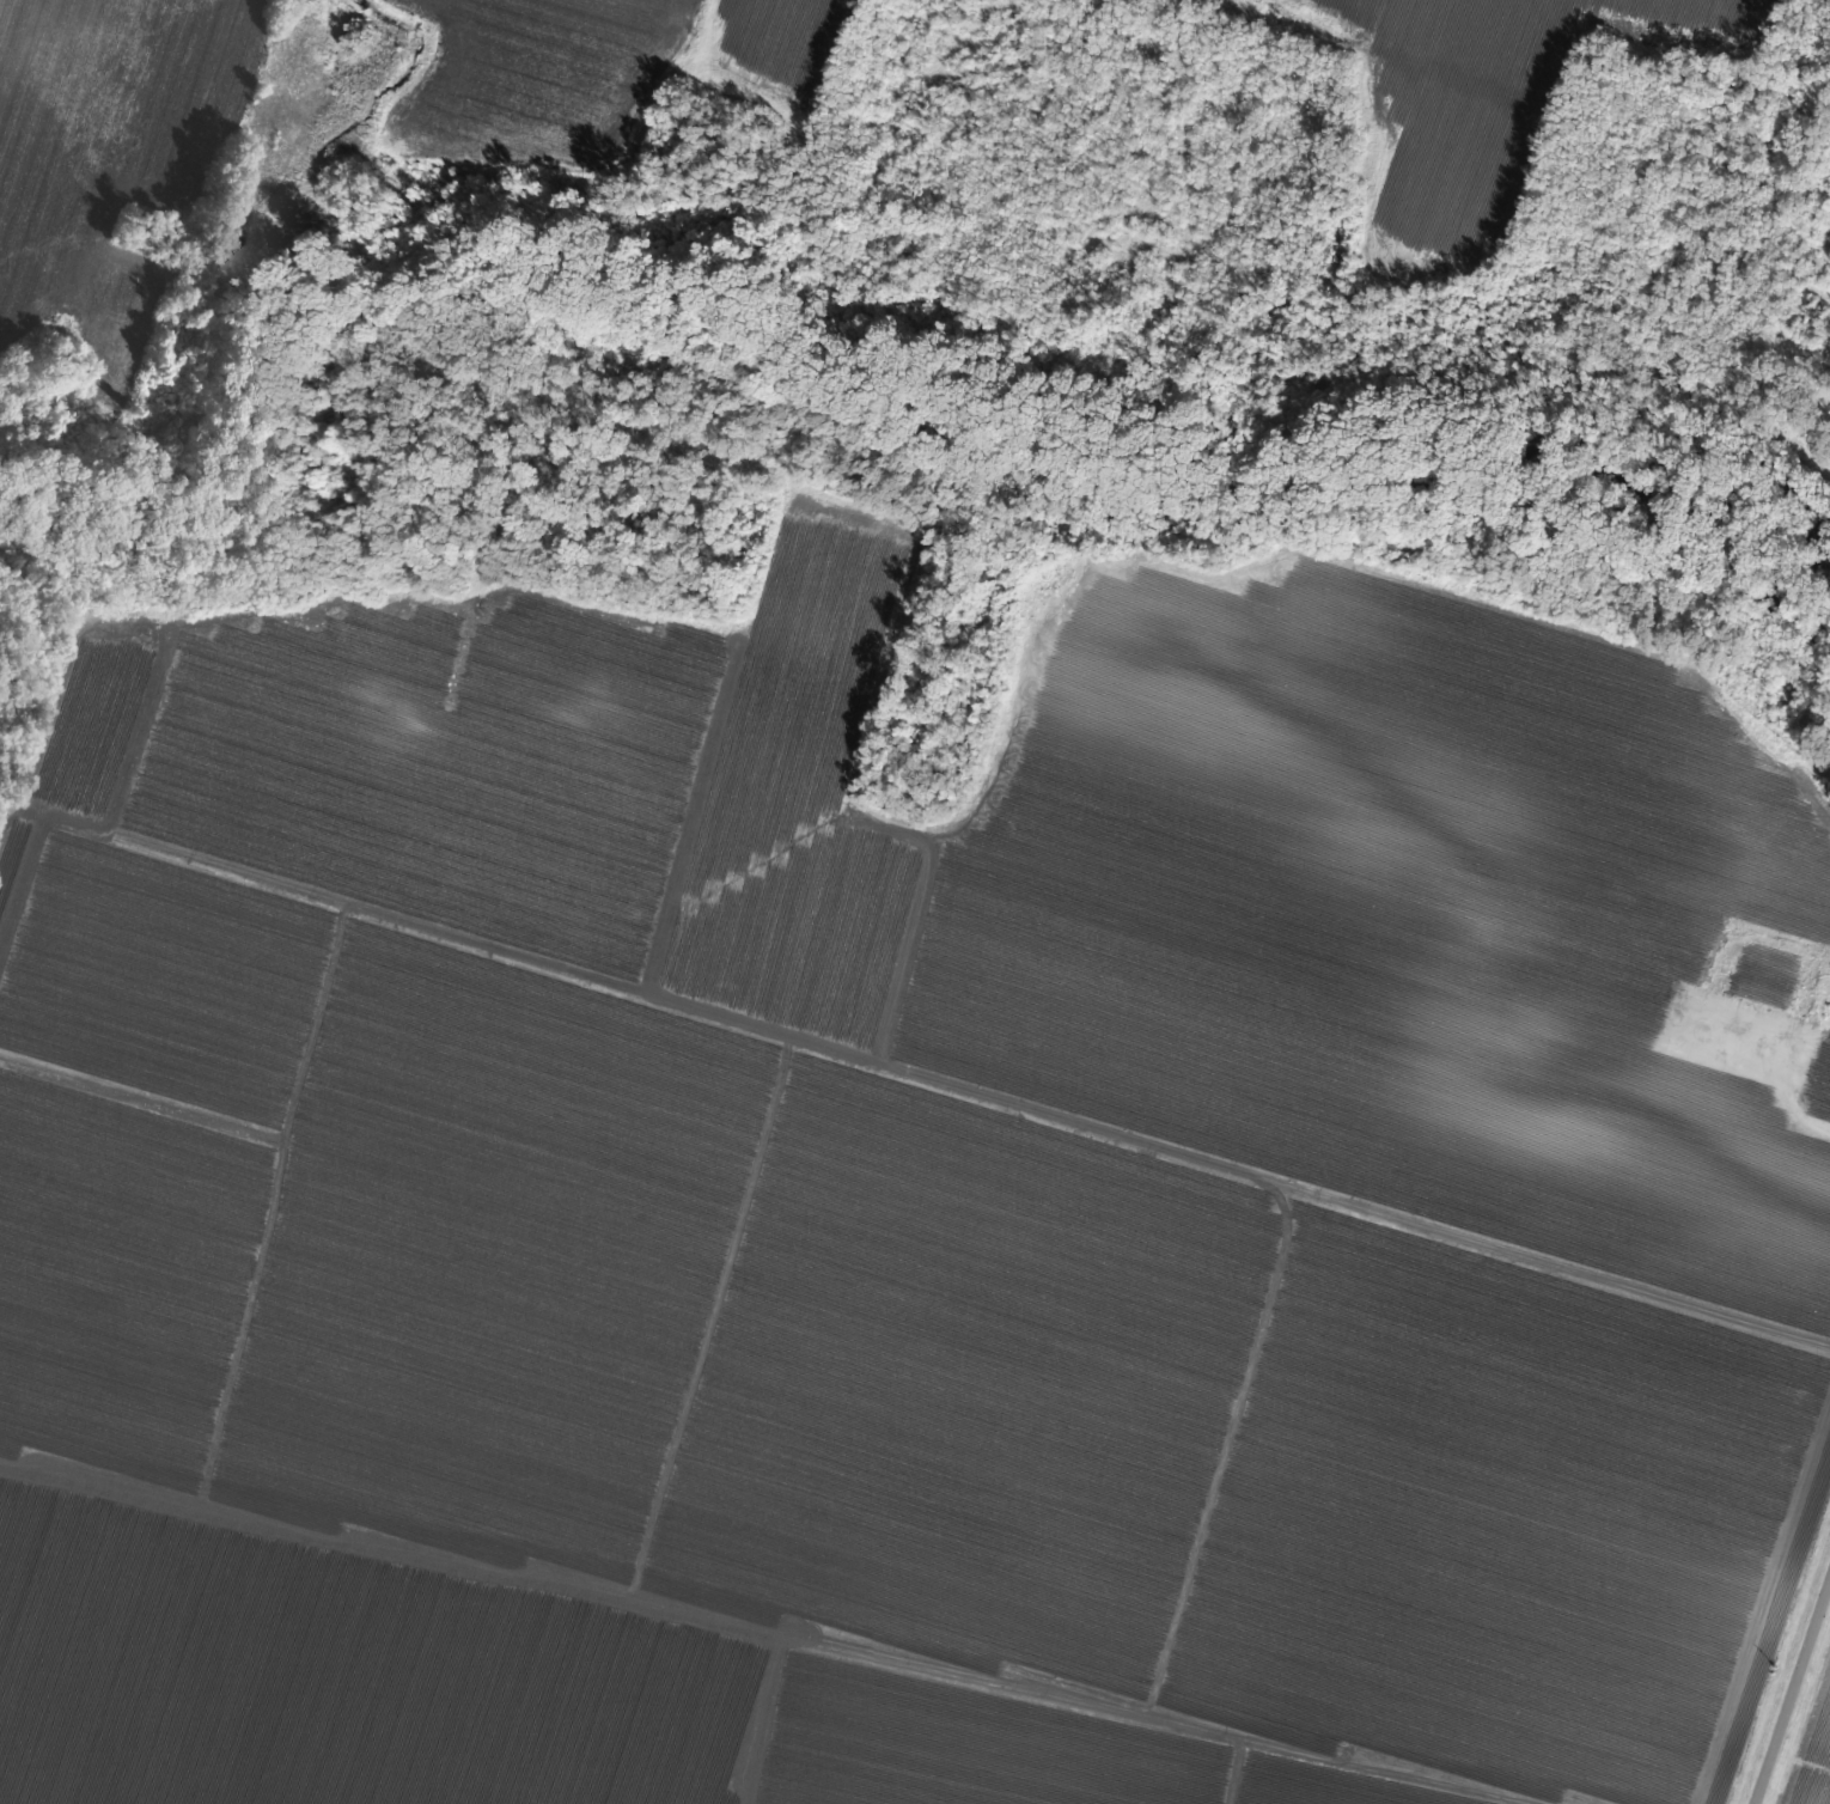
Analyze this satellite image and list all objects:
road: (1798, 1707)

